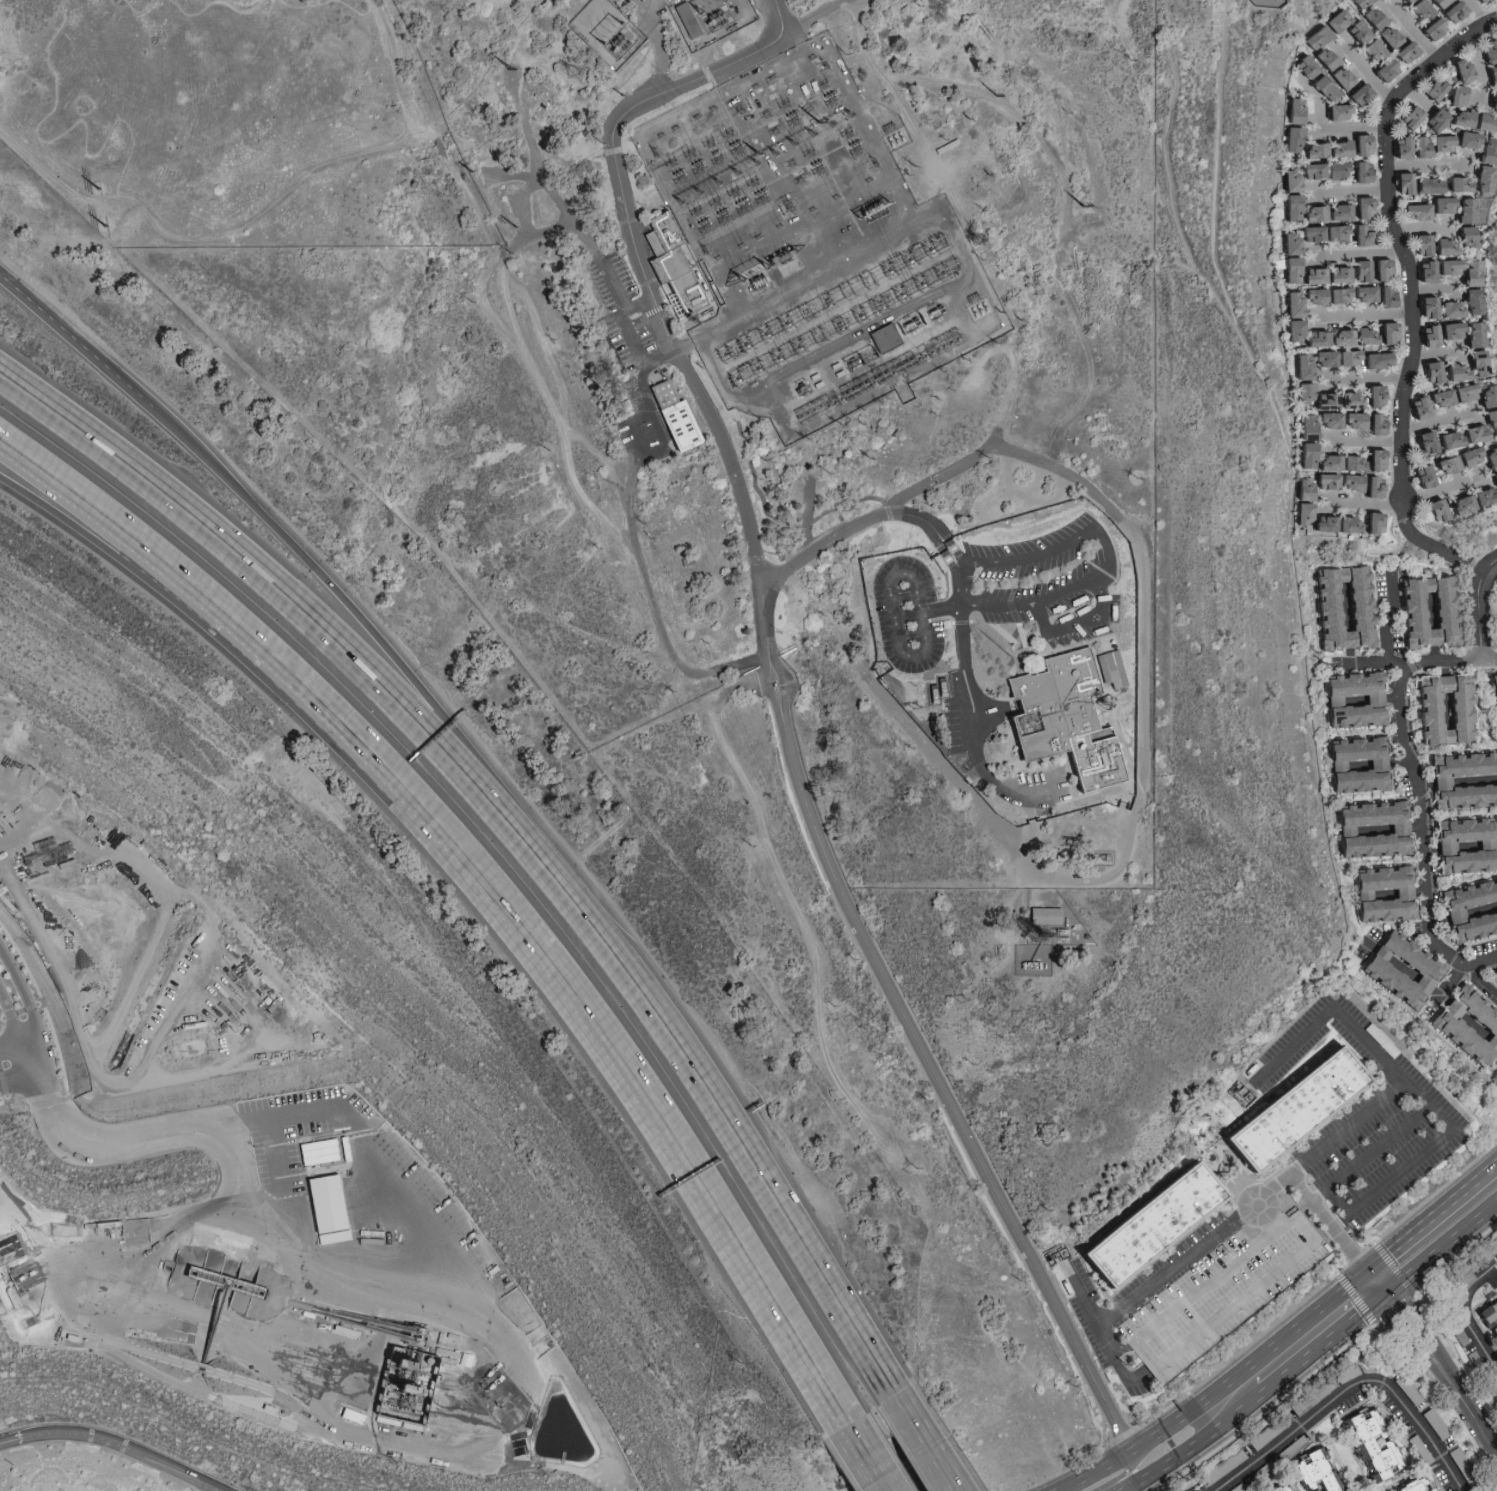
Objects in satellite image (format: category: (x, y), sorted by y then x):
building: (1405, 0)
building: (1478, 0)
park: (1269, 1)
building: (1359, 3)
building: (1436, 3)
building: (1418, 9)
building: (1452, 11)
road: (1479, 13)
building: (1371, 18)
power substation: (711, 19)
road: (780, 19)
building: (1336, 19)
building: (1432, 28)
road: (1412, 30)
road: (1131, 31)
building: (1356, 31)
power substation: (608, 33)
building: (1386, 36)
building: (1315, 37)
road: (656, 45)
building: (1370, 49)
building: (1487, 51)
building: (1404, 52)
building: (1314, 62)
building: (1384, 69)
building: (1458, 69)
power tower: (512, 70)
road: (1367, 73)
power tower: (578, 75)
building: (1491, 75)
building: (1339, 78)
building: (1302, 82)
building: (1322, 87)
building: (1431, 88)
building: (1357, 94)
building: (1453, 95)
building: (1491, 104)
building: (1293, 110)
building: (1335, 111)
building: (1408, 116)
building: (1433, 119)
building: (1473, 120)
road: (1328, 128)
building: (1291, 139)
building: (1464, 139)
building: (1438, 142)
building: (1360, 145)
building: (1400, 146)
building: (1418, 146)
building: (1336, 149)
building: (1313, 150)
building: (1484, 150)
road: (938, 164)
road: (1425, 165)
building: (1310, 170)
building: (1335, 170)
building: (1360, 172)
building: (1480, 179)
building: (1289, 181)
building: (1401, 182)
building: (1455, 183)
building: (1426, 185)
power tower: (101, 191)
building: (1440, 204)
building: (1290, 207)
building: (1361, 207)
road: (261, 209)
building: (1412, 210)
building: (1463, 210)
building: (1326, 212)
road: (1066, 219)
power tower: (107, 227)
building: (1323, 233)
building: (1359, 235)
building: (1463, 236)
power tower: (984, 243)
building: (1289, 244)
power substation: (815, 245)
building: (1430, 245)
road: (1361, 253)
building: (670, 261)
building: (1380, 269)
building: (1447, 269)
building: (1291, 270)
building: (1360, 270)
building: (1424, 270)
building: (1468, 272)
building: (1336, 275)
building: (1313, 276)
road: (1412, 290)
building: (1362, 294)
building: (1324, 296)
building: (1385, 296)
road: (618, 298)
building: (1469, 301)
building: (1292, 304)
building: (1425, 307)
building: (1447, 309)
road: (1367, 315)
building: (1293, 330)
building: (1449, 330)
building: (1386, 332)
building: (1471, 334)
building: (1429, 335)
building: (1364, 336)
building: (1339, 337)
building: (1315, 338)
road: (75, 341)
road: (1435, 352)
road: (638, 354)
building: (1345, 358)
building: (1374, 360)
building: (1474, 363)
building: (1431, 371)
building: (1308, 372)
building: (1453, 372)
road: (1365, 379)
road: (1011, 390)
building: (1461, 392)
building: (1372, 396)
building: (1483, 396)
building: (1439, 398)
building: (1336, 401)
building: (1419, 406)
building: (673, 416)
road: (1435, 420)
building: (1489, 422)
building: (1329, 423)
building: (1375, 424)
building: (1459, 436)
road: (1361, 441)
building: (1423, 442)
road: (667, 446)
building: (1488, 459)
building: (1325, 460)
building: (1373, 460)
building: (1455, 460)
road: (1056, 467)
building: (1422, 476)
building: (1493, 480)
building: (1339, 482)
building: (1371, 487)
road: (1440, 488)
building: (1301, 490)
road: (623, 499)
building: (1469, 500)
road: (1362, 502)
building: (1433, 510)
road: (596, 512)
building: (1301, 513)
building: (1372, 523)
building: (1322, 524)
building: (1345, 525)
road: (127, 534)
road: (124, 557)
building: (1496, 583)
road: (1475, 604)
building: (1342, 608)
road: (939, 609)
building: (1426, 612)
road: (308, 618)
building: (1496, 619)
road: (1387, 623)
road: (1075, 624)
road: (383, 642)
road: (1365, 660)
power tower: (1319, 667)
road: (768, 668)
building: (1494, 685)
road: (691, 692)
building: (1352, 700)
building: (1443, 709)
road: (972, 713)
building: (1075, 716)
building: (1357, 765)
building: (1463, 781)
road: (1417, 793)
road: (32, 818)
building: (1372, 830)
building: (1463, 846)
building: (1382, 894)
building: (1471, 910)
building: (1043, 916)
building: (1400, 969)
building: (1496, 977)
quarry: (161, 982)
road: (1483, 982)
road: (575, 998)
road: (29, 1003)
road: (1331, 1007)
road: (10, 1014)
building: (1467, 1023)
road: (29, 1039)
road: (9, 1044)
road: (21, 1057)
road: (23, 1072)
road: (1432, 1107)
building: (1310, 1115)
road: (741, 1138)
building: (316, 1150)
road: (374, 1162)
road: (237, 1176)
road: (1320, 1193)
building: (325, 1208)
road: (1294, 1213)
road: (1264, 1215)
road: (1429, 1217)
building: (1158, 1226)
building: (1490, 1247)
road: (1440, 1253)
building: (1467, 1266)
road: (1168, 1269)
traffic signals: (1376, 1283)
building: (1231, 1295)
parking lot: (1231, 1295)
road: (1466, 1314)
building: (1488, 1314)
building: (1460, 1336)
road: (1296, 1347)
road: (1119, 1364)
road: (1436, 1371)
road: (1349, 1386)
road: (1171, 1425)
road: (78, 1434)
road: (925, 1435)
road: (11, 1439)
building: (1369, 1447)
road: (868, 1450)
road: (1178, 1458)
building: (1320, 1471)
road: (176, 1472)
road: (1094, 1472)
road: (1128, 1473)
building: (1418, 1486)
building: (1286, 1489)

